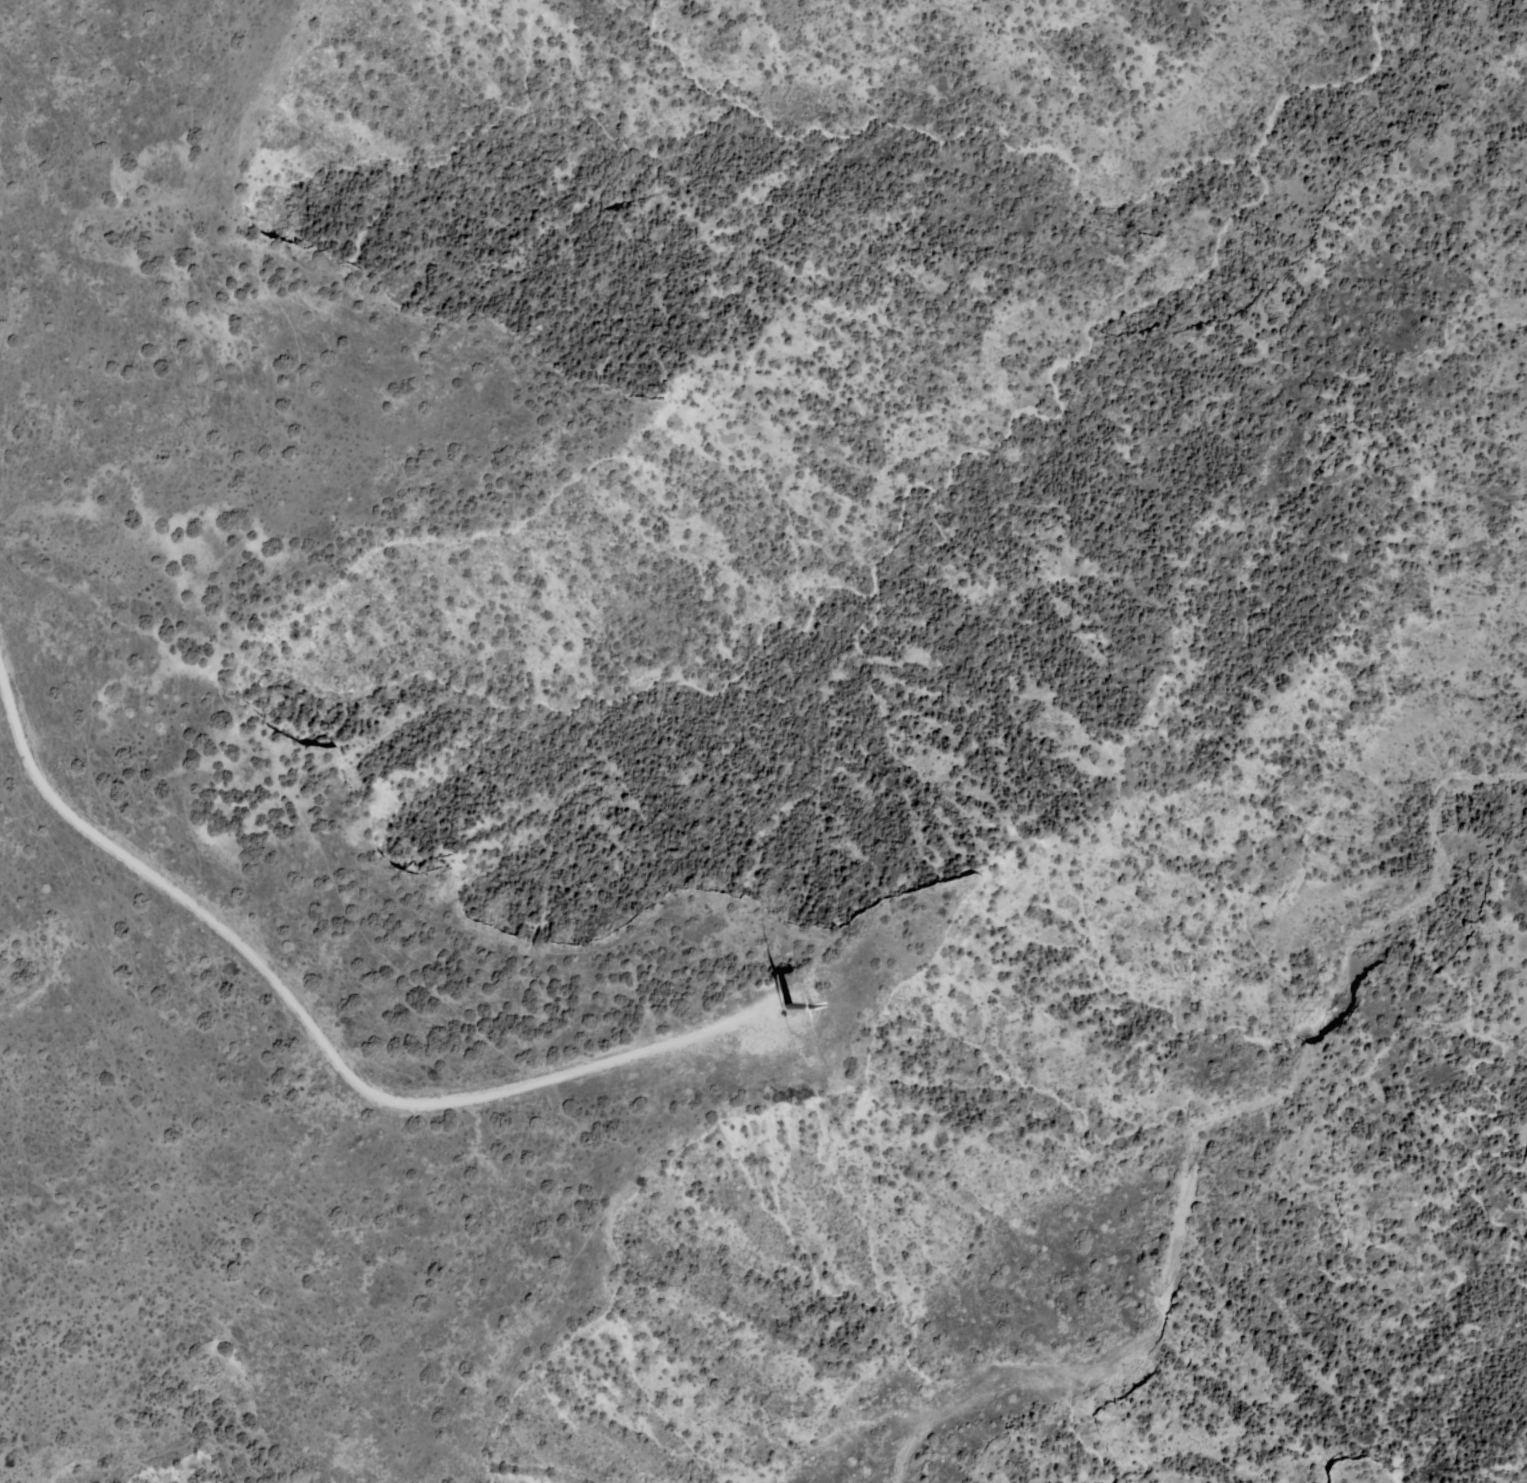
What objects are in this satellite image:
wind turbine: (787, 1008)
road: (308, 1023)

